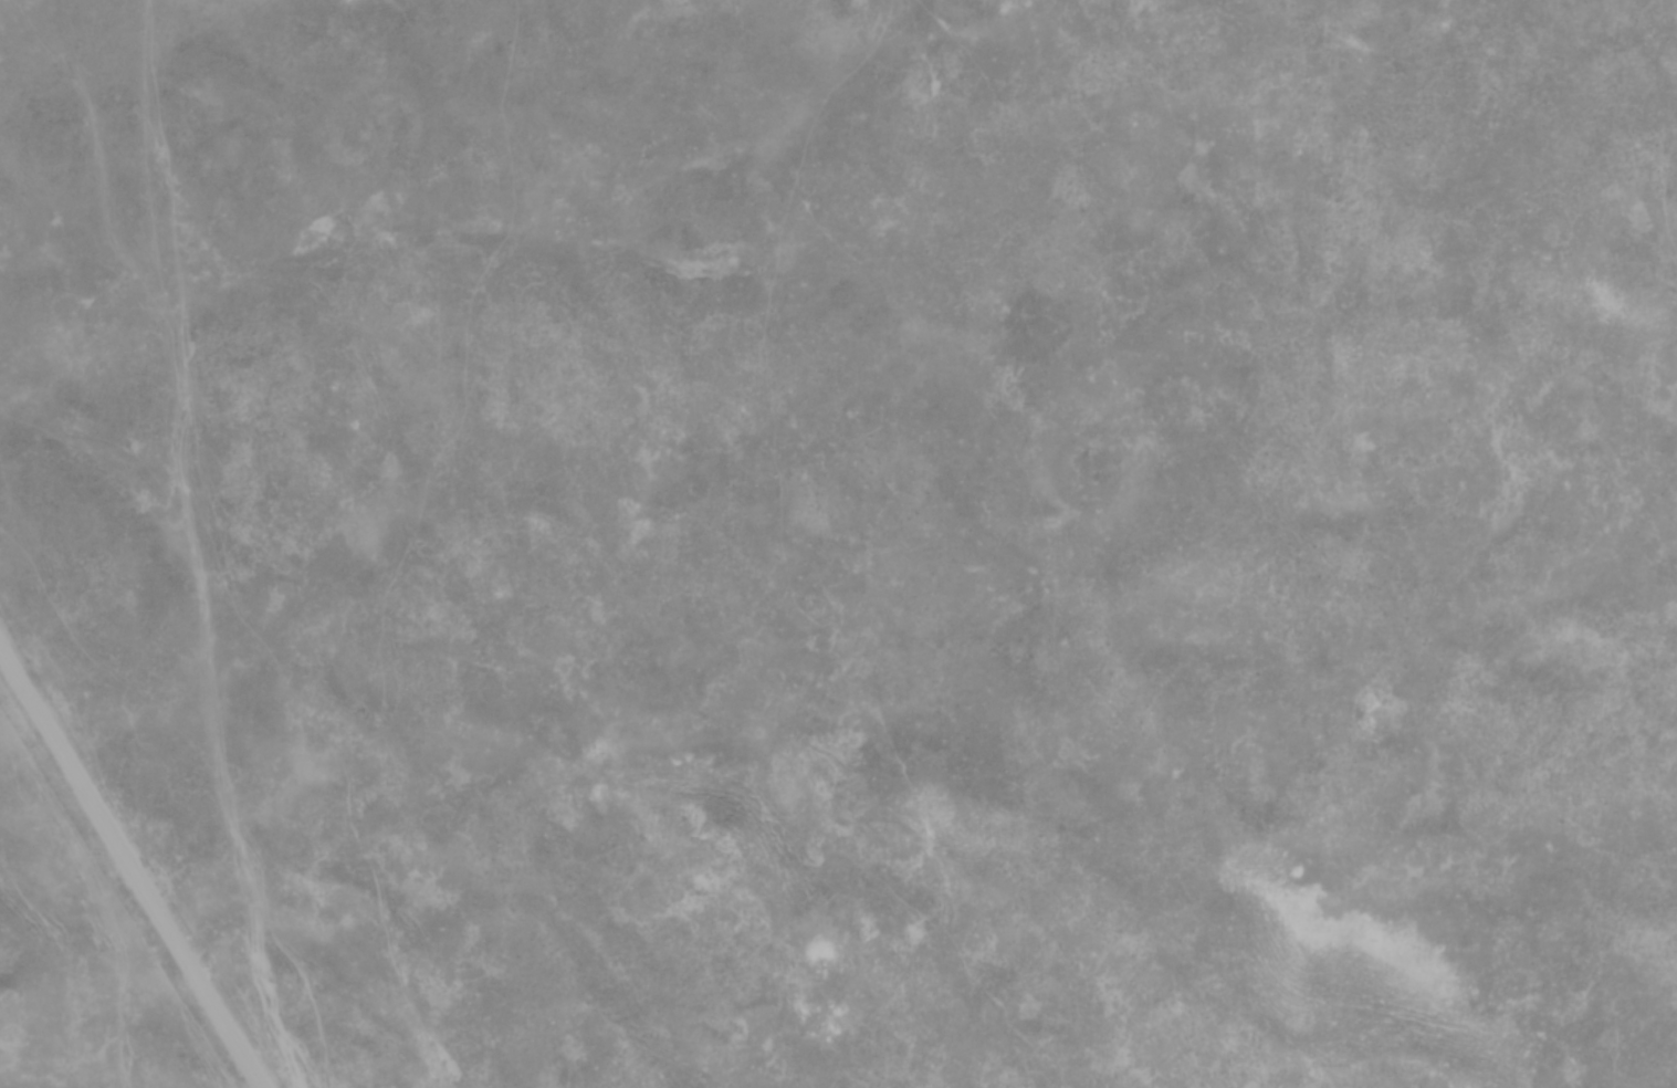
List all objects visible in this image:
road: (132, 868)

